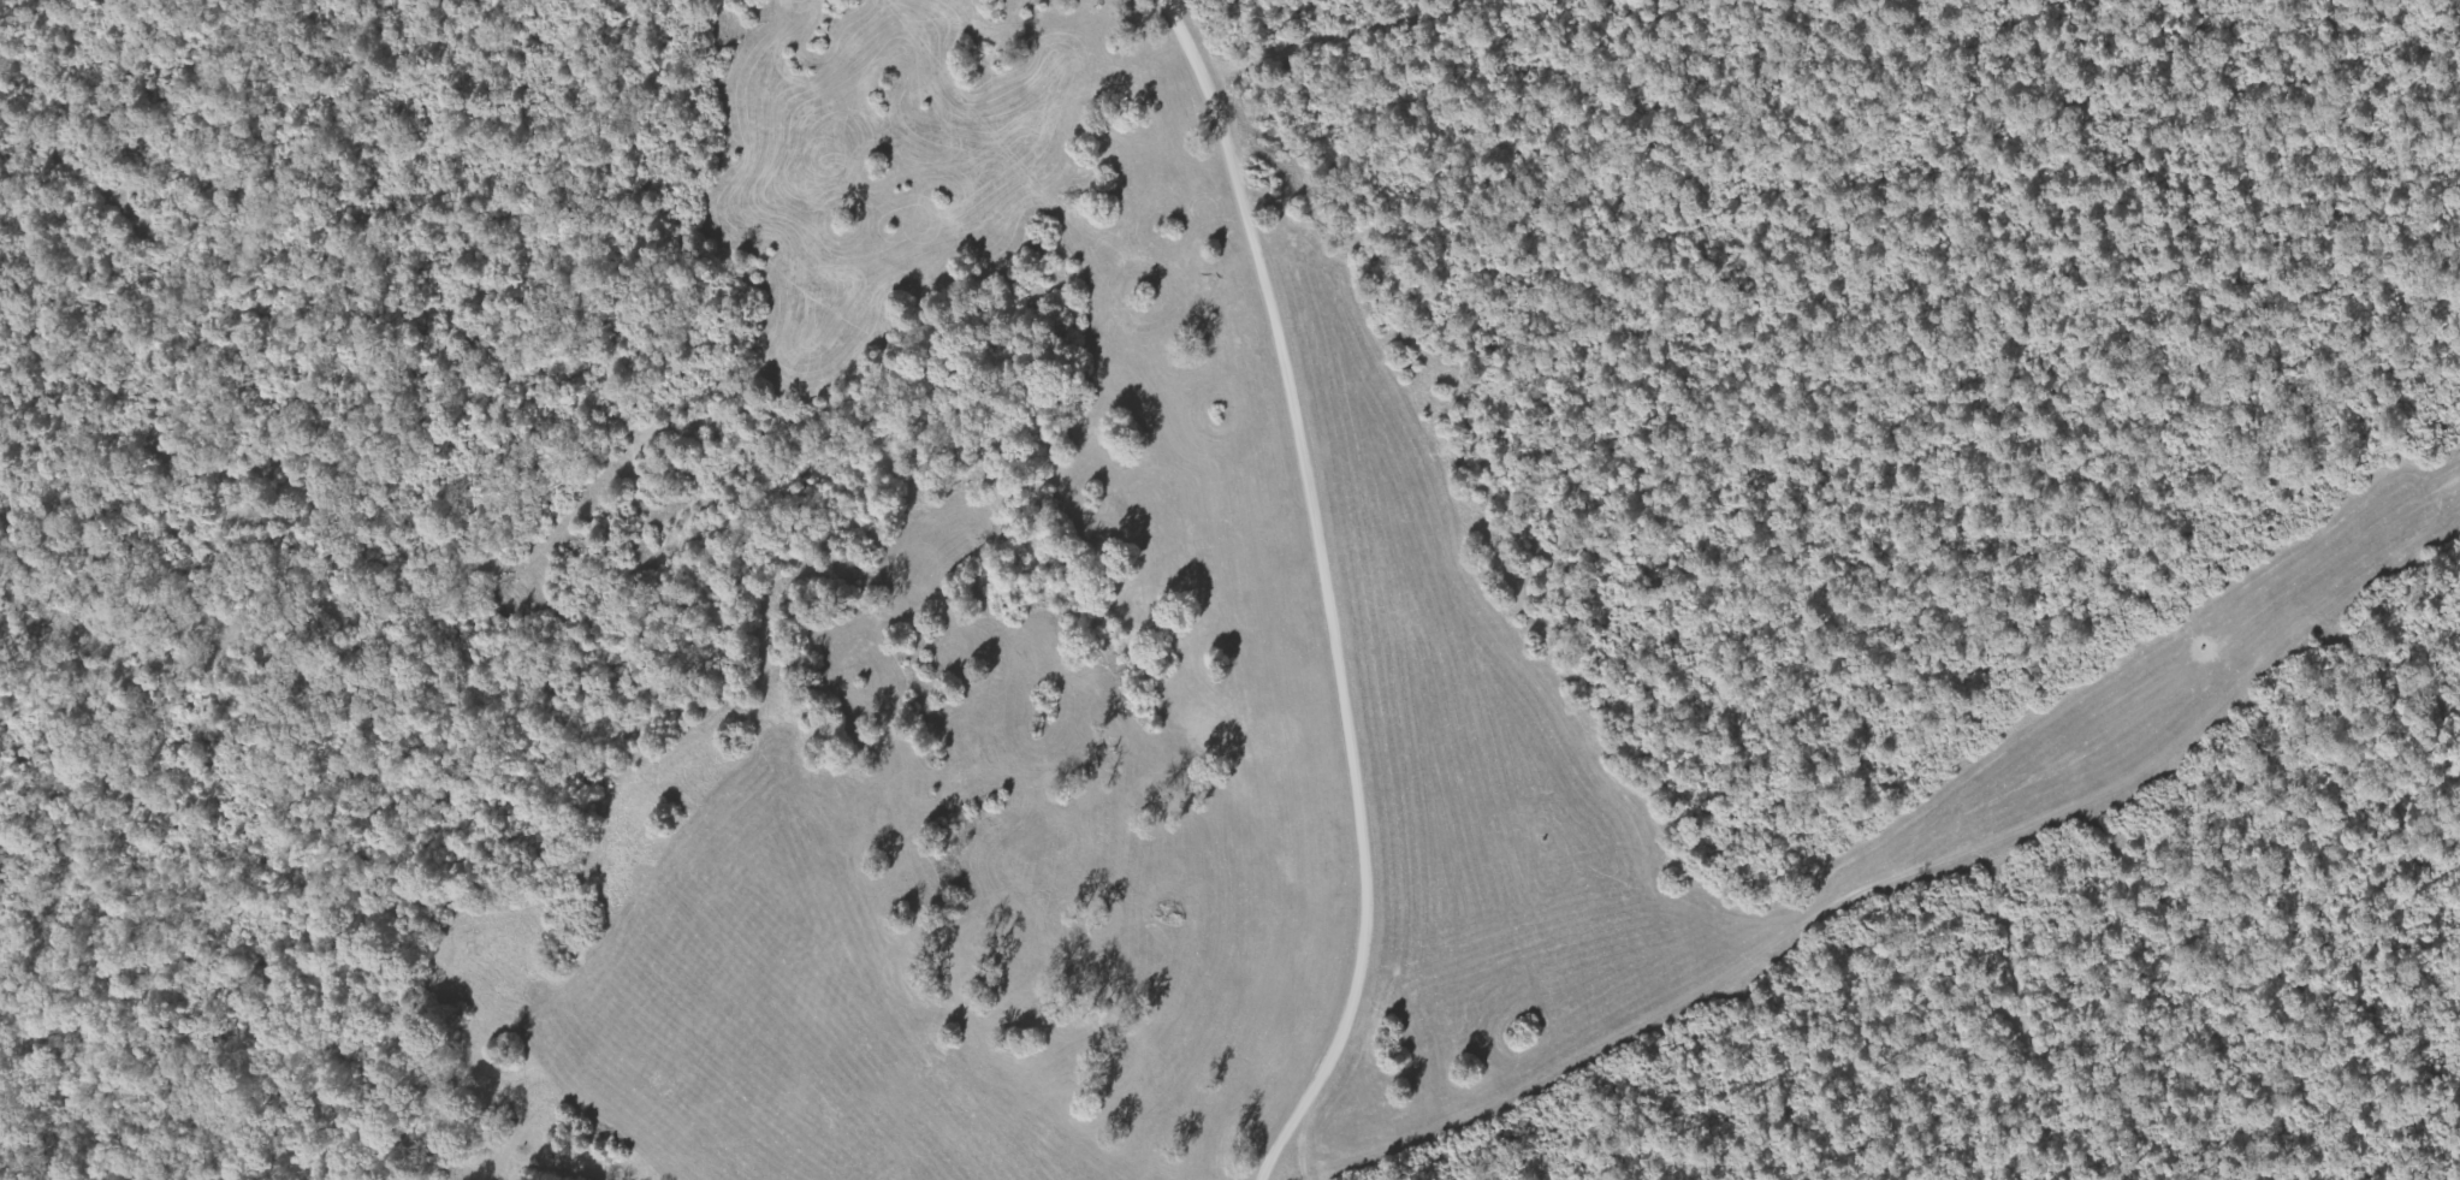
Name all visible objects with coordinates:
road: (1323, 593)

